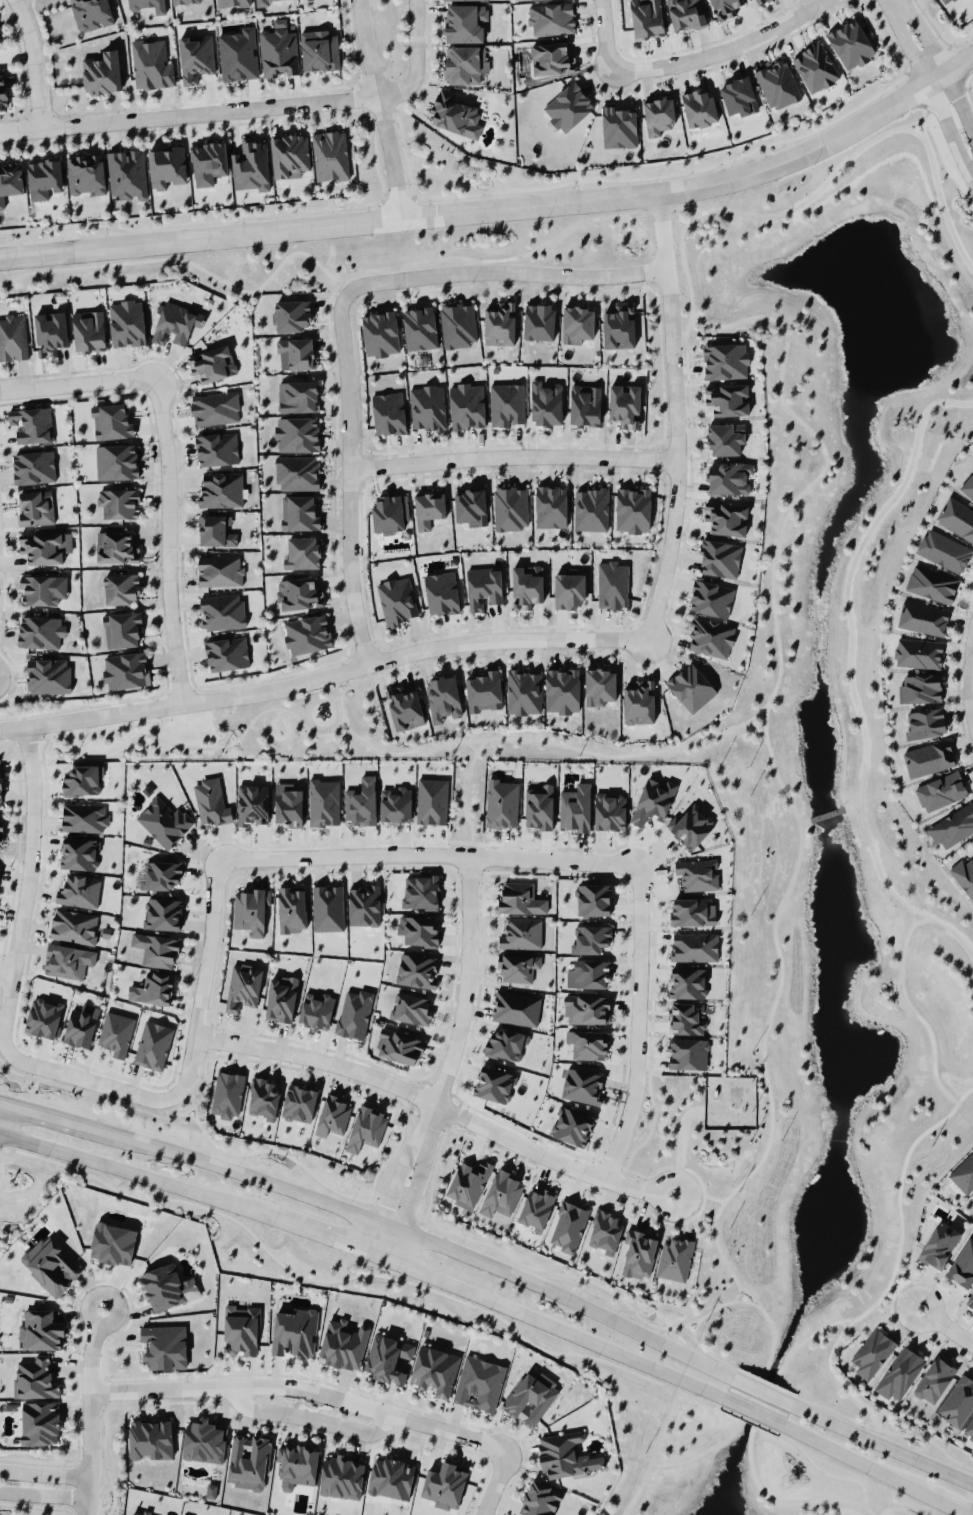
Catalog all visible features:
building: (455, 0)
building: (185, 1)
building: (756, 1)
building: (945, 1)
building: (231, 3)
building: (262, 3)
building: (147, 5)
building: (724, 8)
building: (91, 14)
building: (686, 14)
building: (550, 18)
building: (646, 18)
building: (465, 22)
road: (605, 34)
building: (0, 44)
building: (850, 44)
building: (0, 45)
building: (279, 50)
building: (319, 50)
road: (722, 51)
building: (238, 55)
building: (195, 57)
building: (552, 58)
road: (415, 59)
road: (34, 63)
building: (151, 64)
building: (463, 64)
road: (941, 64)
building: (814, 66)
building: (101, 72)
building: (777, 84)
road: (930, 87)
building: (3, 90)
building: (738, 96)
building: (567, 107)
building: (699, 107)
road: (380, 108)
building: (451, 113)
road: (189, 114)
building: (658, 114)
building: (619, 125)
building: (289, 154)
building: (329, 154)
building: (209, 162)
building: (251, 166)
building: (167, 167)
building: (127, 173)
building: (85, 174)
building: (43, 178)
building: (10, 180)
road: (501, 207)
road: (506, 271)
road: (338, 279)
building: (291, 315)
building: (539, 321)
building: (126, 322)
building: (173, 322)
building: (458, 324)
building: (500, 324)
building: (577, 324)
building: (619, 327)
building: (420, 328)
building: (88, 330)
building: (49, 332)
building: (380, 333)
building: (13, 336)
building: (297, 351)
building: (725, 361)
building: (212, 363)
road: (79, 381)
building: (296, 395)
building: (728, 399)
building: (506, 404)
building: (546, 404)
building: (624, 404)
building: (585, 405)
building: (467, 406)
building: (214, 407)
building: (427, 407)
building: (388, 413)
road: (676, 415)
building: (112, 420)
building: (31, 423)
building: (297, 434)
building: (725, 439)
building: (216, 448)
road: (512, 456)
building: (116, 461)
building: (33, 466)
building: (298, 472)
road: (349, 476)
building: (729, 478)
building: (967, 486)
building: (220, 489)
building: (118, 502)
building: (470, 506)
building: (550, 506)
building: (35, 507)
building: (510, 507)
building: (428, 508)
building: (591, 509)
building: (632, 509)
building: (298, 512)
building: (390, 513)
building: (956, 517)
building: (727, 519)
building: (214, 530)
road: (169, 538)
building: (44, 546)
building: (115, 546)
building: (943, 550)
building: (300, 551)
road: (773, 557)
building: (720, 558)
building: (219, 569)
building: (931, 583)
building: (612, 584)
building: (527, 585)
building: (483, 587)
building: (120, 588)
building: (39, 589)
building: (568, 590)
building: (299, 593)
building: (441, 593)
building: (711, 598)
building: (397, 600)
building: (221, 611)
building: (920, 617)
building: (122, 629)
building: (38, 631)
building: (307, 634)
building: (711, 637)
building: (917, 652)
building: (226, 653)
building: (124, 669)
building: (48, 675)
road: (322, 676)
building: (599, 686)
building: (691, 687)
building: (919, 688)
building: (483, 690)
building: (562, 690)
building: (523, 692)
building: (443, 697)
road: (332, 698)
building: (639, 702)
building: (404, 708)
building: (923, 723)
road: (512, 739)
road: (180, 745)
building: (928, 758)
building: (82, 780)
building: (1, 790)
building: (941, 791)
building: (432, 801)
building: (653, 801)
building: (211, 802)
building: (324, 802)
building: (361, 802)
building: (501, 803)
building: (252, 804)
building: (288, 805)
building: (396, 805)
road: (851, 805)
building: (538, 807)
building: (575, 808)
building: (610, 812)
road: (827, 813)
building: (84, 816)
road: (805, 820)
building: (164, 822)
building: (690, 826)
building: (952, 826)
building: (0, 833)
building: (79, 853)
road: (429, 853)
building: (698, 874)
building: (161, 875)
building: (963, 875)
road: (27, 889)
building: (79, 891)
building: (421, 892)
building: (520, 898)
building: (593, 899)
road: (905, 905)
building: (364, 906)
building: (292, 908)
building: (328, 908)
building: (250, 911)
building: (693, 911)
building: (163, 914)
road: (918, 920)
building: (73, 925)
road: (947, 926)
building: (419, 930)
building: (521, 933)
building: (590, 938)
building: (694, 946)
building: (156, 949)
building: (68, 961)
building: (518, 967)
building: (417, 970)
road: (6, 971)
building: (589, 974)
road: (205, 979)
building: (687, 982)
building: (243, 987)
building: (153, 989)
road: (465, 994)
building: (281, 998)
building: (516, 1008)
building: (411, 1009)
building: (587, 1009)
building: (316, 1010)
building: (354, 1012)
building: (43, 1017)
building: (685, 1019)
road: (639, 1024)
building: (81, 1026)
building: (116, 1033)
building: (505, 1044)
building: (588, 1044)
building: (153, 1045)
building: (399, 1046)
building: (688, 1053)
road: (88, 1080)
building: (494, 1084)
building: (582, 1086)
road: (963, 1093)
building: (227, 1094)
building: (263, 1096)
road: (438, 1101)
building: (299, 1103)
road: (58, 1116)
building: (333, 1116)
building: (572, 1126)
building: (366, 1129)
road: (130, 1171)
building: (963, 1173)
building: (468, 1183)
road: (391, 1189)
building: (501, 1194)
road: (410, 1196)
building: (536, 1209)
building: (569, 1226)
building: (605, 1232)
road: (318, 1234)
road: (429, 1240)
building: (112, 1243)
building: (939, 1245)
building: (639, 1253)
building: (674, 1259)
building: (51, 1265)
building: (963, 1265)
building: (167, 1287)
building: (970, 1300)
road: (550, 1325)
road: (946, 1326)
building: (241, 1329)
building: (40, 1330)
building: (294, 1332)
building: (343, 1344)
building: (165, 1346)
road: (91, 1348)
building: (872, 1353)
building: (388, 1358)
building: (434, 1370)
building: (900, 1373)
building: (35, 1379)
building: (934, 1380)
building: (479, 1383)
road: (301, 1388)
road: (761, 1391)
building: (529, 1399)
building: (958, 1401)
road: (751, 1412)
road: (307, 1415)
building: (40, 1422)
building: (969, 1429)
building: (150, 1439)
building: (203, 1440)
road: (882, 1444)
road: (88, 1452)
building: (567, 1455)
building: (248, 1461)
road: (674, 1463)
building: (296, 1464)
road: (872, 1470)
road: (43, 1472)
building: (342, 1476)
building: (391, 1478)
road: (494, 1484)
building: (445, 1485)
road: (43, 1494)
building: (540, 1499)
road: (783, 1504)
building: (139, 1513)
building: (164, 1514)

